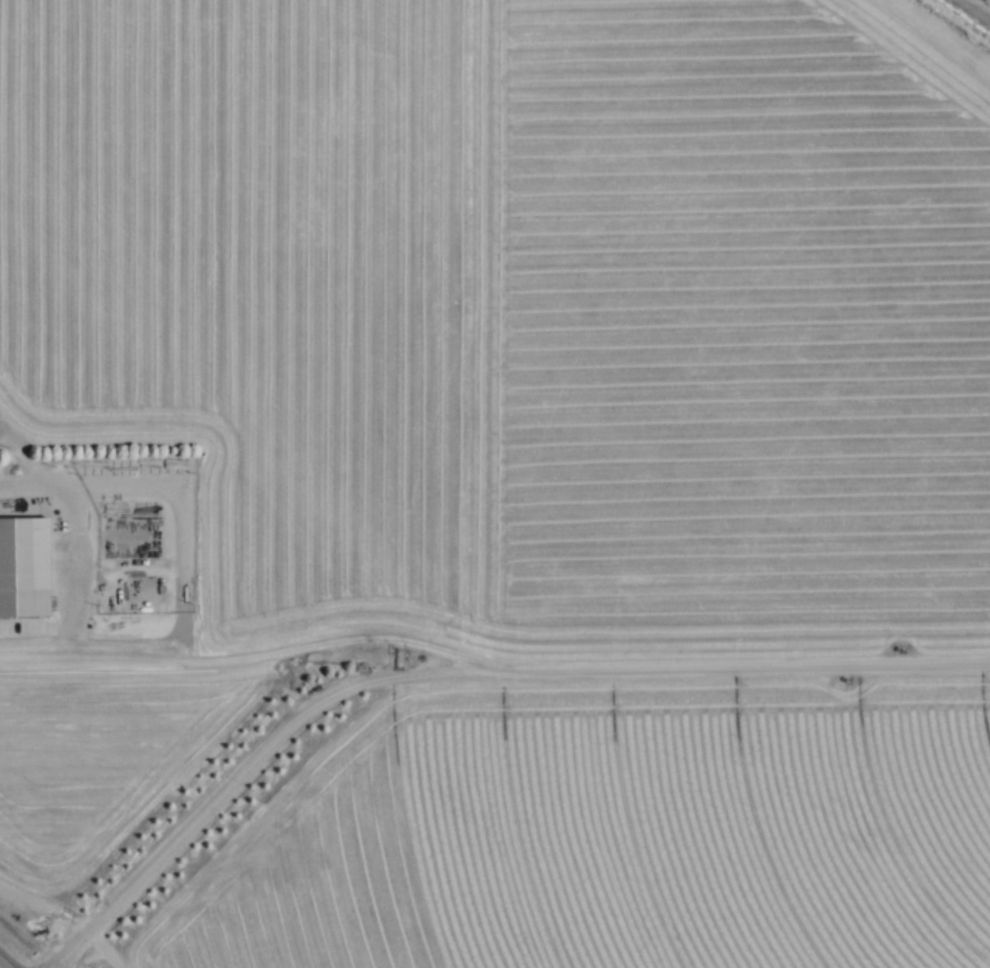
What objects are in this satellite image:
building: (24, 567)
road: (246, 658)
road: (458, 671)
road: (1, 966)

